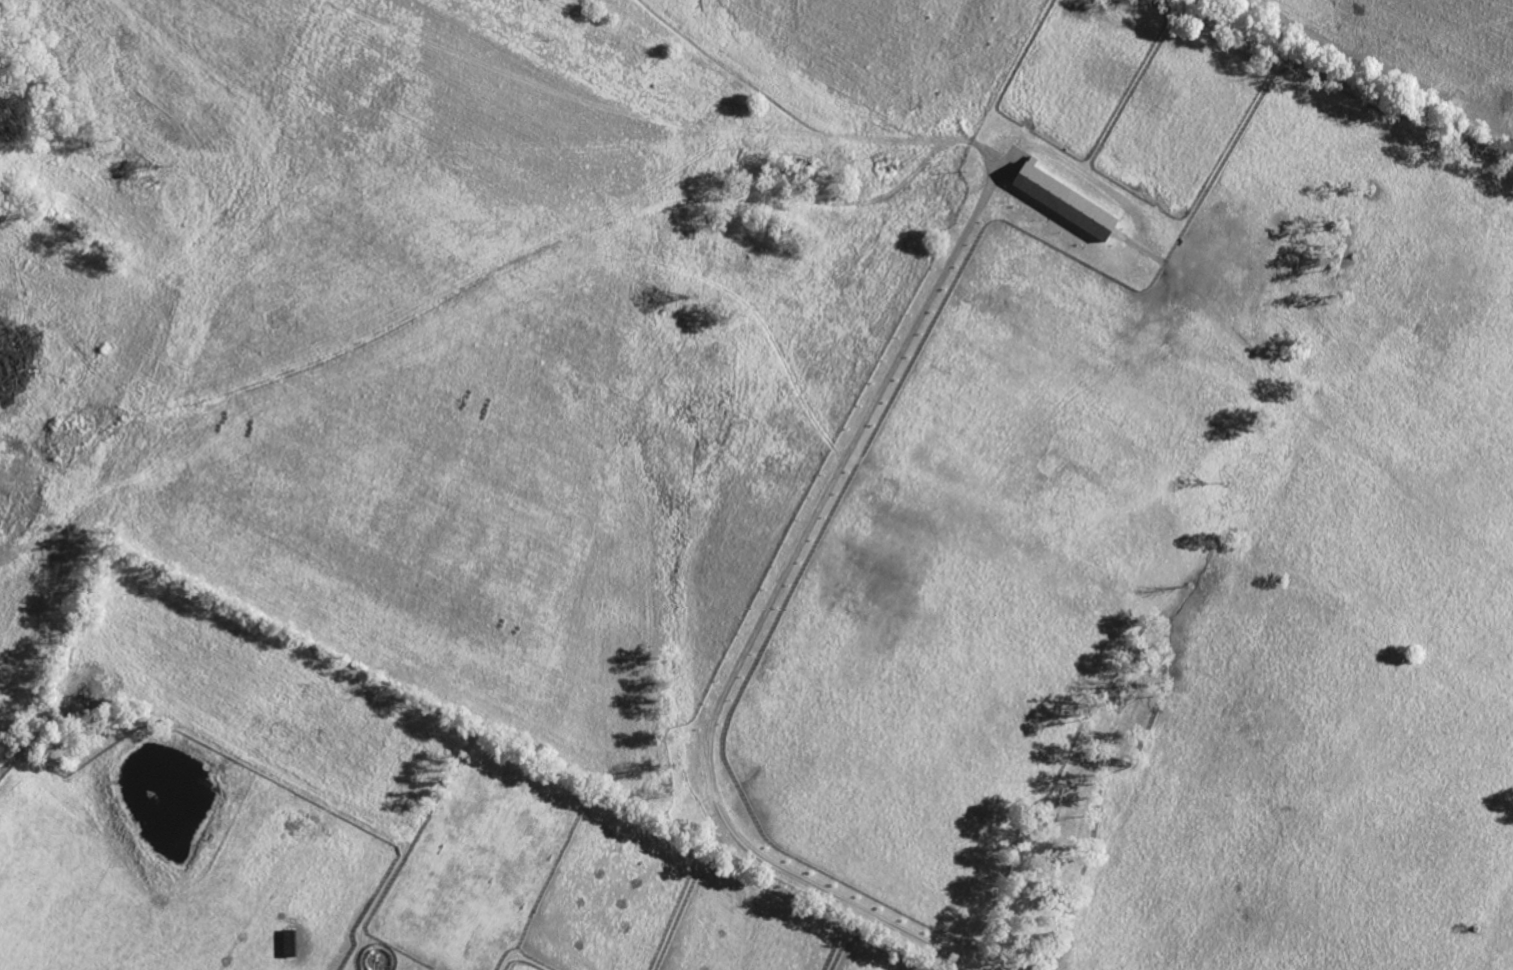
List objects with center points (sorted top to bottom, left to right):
building: (1070, 203)
road: (764, 620)

